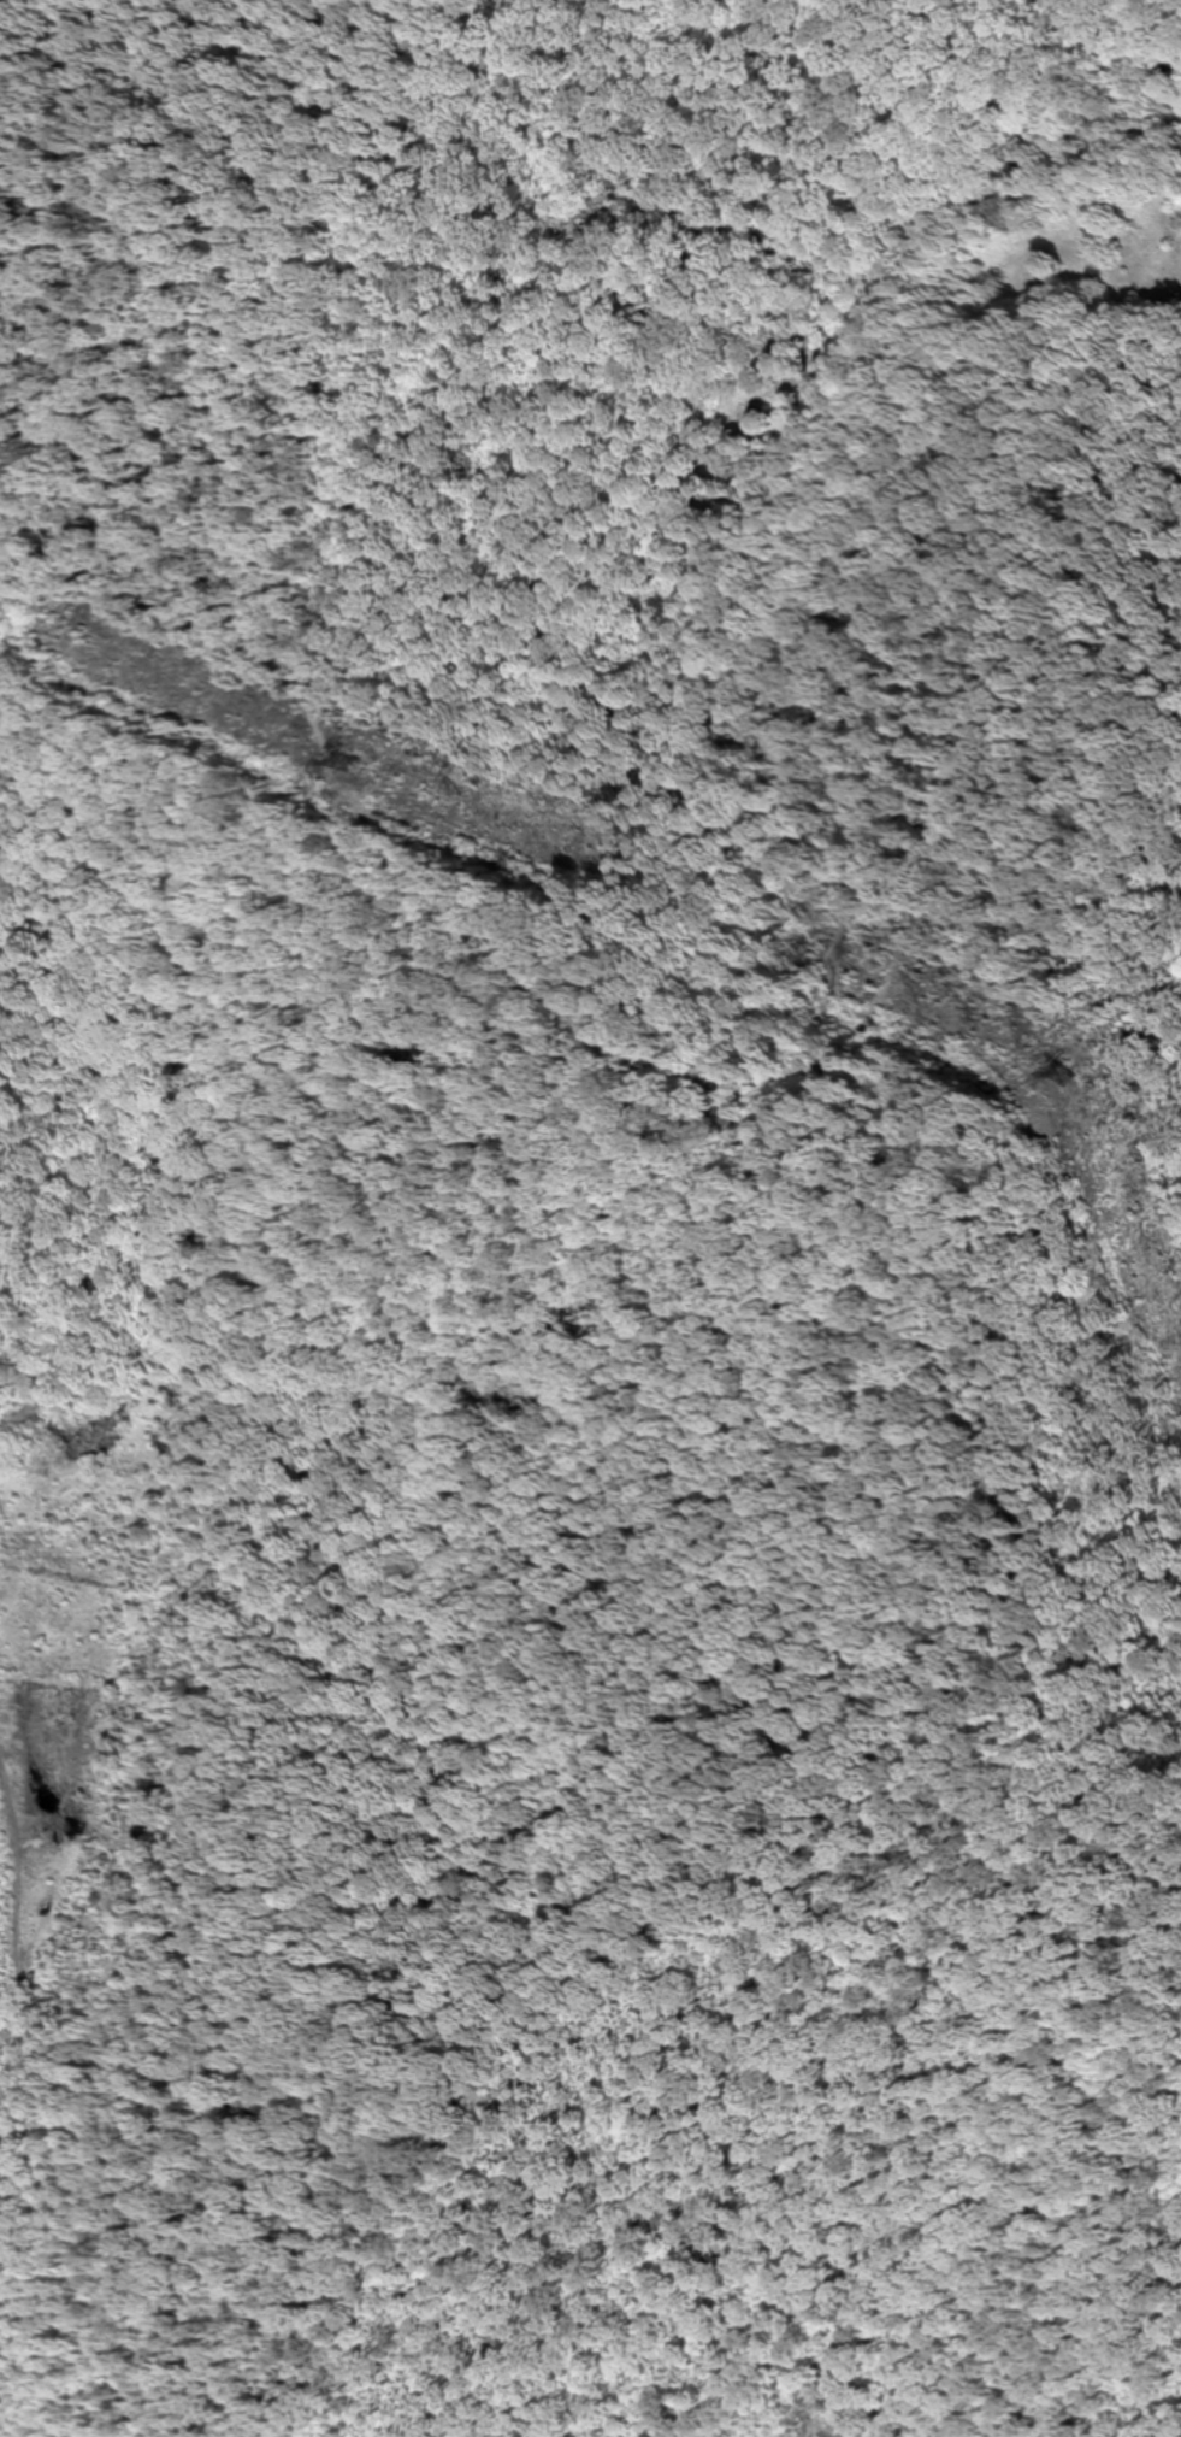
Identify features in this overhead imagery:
power tower: (366, 765)
power tower: (1090, 1076)
road: (579, 2123)

